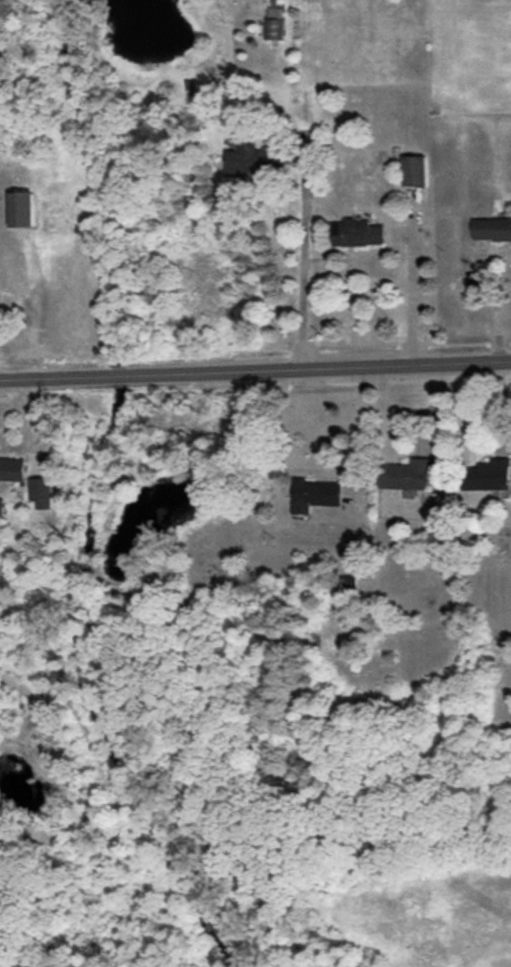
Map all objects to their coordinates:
building: (275, 23)
building: (252, 158)
building: (414, 170)
building: (22, 209)
building: (492, 229)
building: (356, 233)
road: (302, 267)
road: (410, 298)
road: (494, 305)
road: (255, 368)
road: (364, 429)
building: (12, 469)
building: (406, 475)
building: (489, 475)
building: (41, 492)
building: (314, 495)
building: (433, 504)
building: (1, 506)
building: (348, 582)

